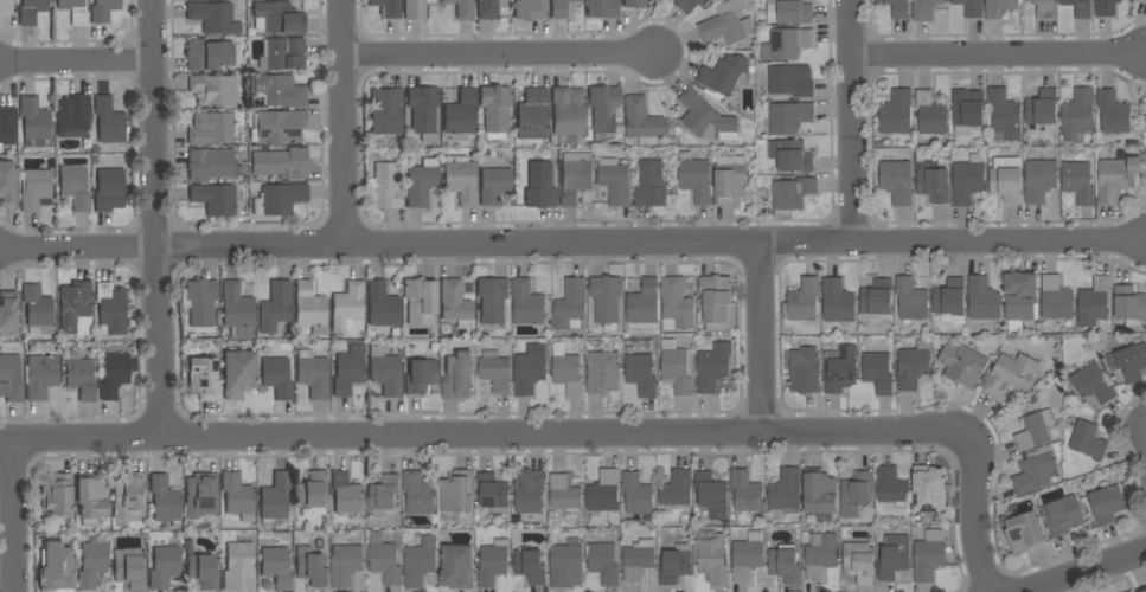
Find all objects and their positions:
building: (1144, 0)
building: (634, 4)
building: (689, 5)
building: (6, 7)
building: (388, 7)
building: (971, 7)
building: (1043, 7)
building: (1106, 7)
building: (415, 8)
building: (462, 8)
building: (559, 8)
building: (602, 8)
building: (896, 8)
building: (999, 8)
building: (1078, 8)
building: (487, 9)
building: (530, 9)
building: (924, 9)
building: (31, 11)
building: (73, 11)
building: (103, 11)
building: (788, 12)
building: (213, 18)
building: (277, 18)
building: (726, 24)
building: (789, 43)
building: (283, 54)
road: (500, 54)
building: (207, 56)
road: (999, 56)
road: (77, 60)
building: (723, 75)
building: (788, 82)
building: (213, 91)
building: (280, 91)
building: (1042, 108)
building: (495, 109)
building: (385, 111)
building: (423, 111)
building: (568, 111)
building: (603, 111)
building: (968, 111)
building: (532, 112)
building: (896, 112)
building: (1113, 112)
building: (460, 114)
building: (930, 114)
building: (1077, 114)
building: (1004, 115)
building: (72, 116)
building: (789, 117)
building: (705, 118)
building: (1145, 118)
building: (109, 122)
building: (644, 122)
road: (853, 122)
building: (34, 123)
road: (342, 123)
building: (6, 127)
building: (279, 127)
building: (216, 129)
building: (790, 155)
building: (210, 163)
building: (281, 163)
building: (575, 176)
building: (1116, 176)
building: (694, 178)
building: (461, 179)
building: (730, 180)
building: (967, 180)
building: (1039, 180)
building: (1077, 180)
building: (615, 181)
building: (896, 181)
building: (1005, 181)
building: (7, 182)
building: (422, 182)
building: (933, 184)
building: (494, 185)
building: (649, 185)
building: (539, 186)
building: (75, 187)
building: (384, 188)
building: (109, 189)
building: (36, 191)
building: (792, 194)
building: (215, 199)
building: (279, 199)
road: (155, 220)
road: (572, 245)
building: (877, 297)
building: (1019, 298)
building: (492, 300)
building: (804, 300)
building: (911, 300)
building: (982, 300)
building: (199, 301)
building: (420, 301)
building: (606, 301)
building: (948, 301)
building: (1056, 301)
building: (75, 302)
building: (837, 302)
building: (1093, 302)
building: (455, 303)
building: (527, 303)
building: (644, 303)
building: (717, 303)
building: (570, 304)
building: (347, 305)
building: (382, 305)
building: (677, 305)
building: (1129, 305)
building: (275, 307)
building: (310, 308)
building: (38, 309)
building: (110, 309)
building: (237, 311)
building: (8, 314)
road: (761, 339)
building: (1128, 362)
building: (961, 363)
building: (913, 366)
building: (712, 367)
building: (676, 368)
building: (530, 369)
building: (802, 369)
building: (348, 371)
building: (494, 371)
building: (840, 371)
building: (385, 372)
building: (877, 372)
building: (238, 373)
building: (603, 373)
building: (313, 374)
building: (568, 374)
building: (640, 374)
building: (79, 375)
building: (115, 375)
building: (420, 375)
building: (1009, 375)
building: (40, 377)
building: (457, 377)
building: (204, 378)
building: (277, 378)
building: (9, 379)
building: (1091, 382)
building: (1035, 430)
road: (457, 437)
building: (1087, 439)
building: (1035, 471)
building: (891, 487)
building: (676, 489)
building: (312, 490)
building: (929, 490)
building: (456, 491)
building: (745, 491)
building: (418, 493)
building: (492, 493)
building: (785, 493)
road: (971, 493)
building: (383, 494)
building: (527, 494)
building: (636, 494)
building: (711, 494)
building: (856, 494)
building: (201, 495)
building: (602, 495)
building: (57, 496)
building: (128, 496)
building: (237, 496)
building: (347, 496)
building: (564, 496)
building: (820, 496)
building: (92, 498)
building: (275, 498)
building: (165, 500)
building: (1106, 504)
building: (1062, 515)
road: (12, 516)
building: (1024, 533)
building: (819, 555)
building: (747, 556)
building: (894, 556)
building: (929, 556)
building: (711, 558)
building: (638, 560)
building: (92, 561)
building: (384, 561)
building: (420, 562)
building: (492, 562)
building: (858, 562)
building: (237, 564)
building: (346, 564)
building: (603, 564)
building: (674, 565)
building: (785, 565)
building: (530, 566)
building: (164, 567)
building: (276, 567)
building: (310, 567)
building: (457, 567)
building: (566, 567)
building: (58, 568)
building: (130, 570)
building: (203, 571)
road: (1086, 571)
road: (1113, 581)
building: (1131, 591)
building: (1144, 591)

